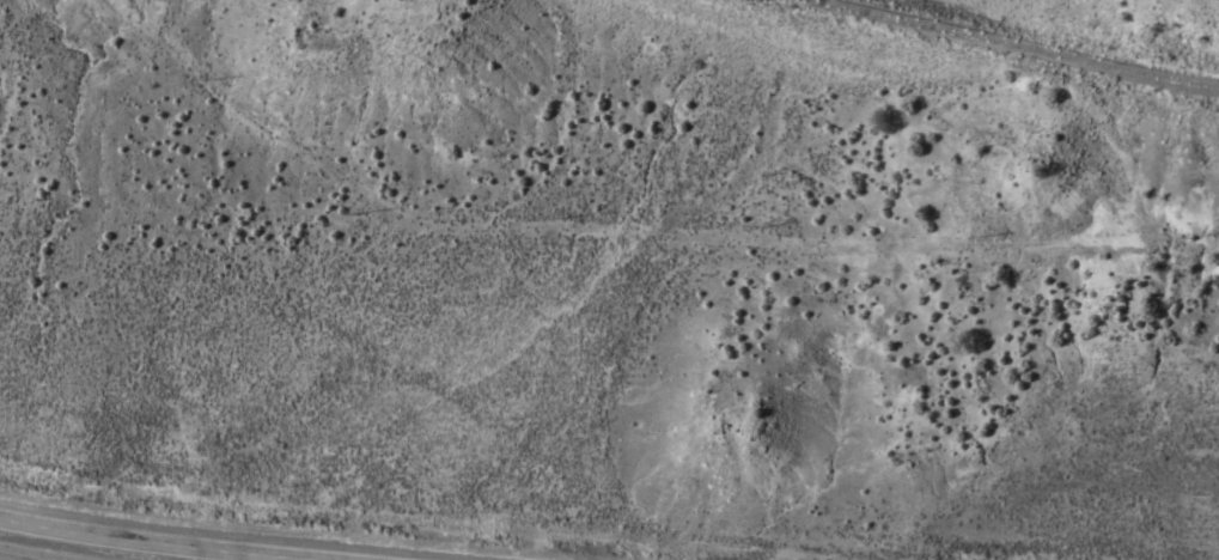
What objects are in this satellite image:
railway: (1020, 44)
road: (169, 542)
road: (16, 556)

